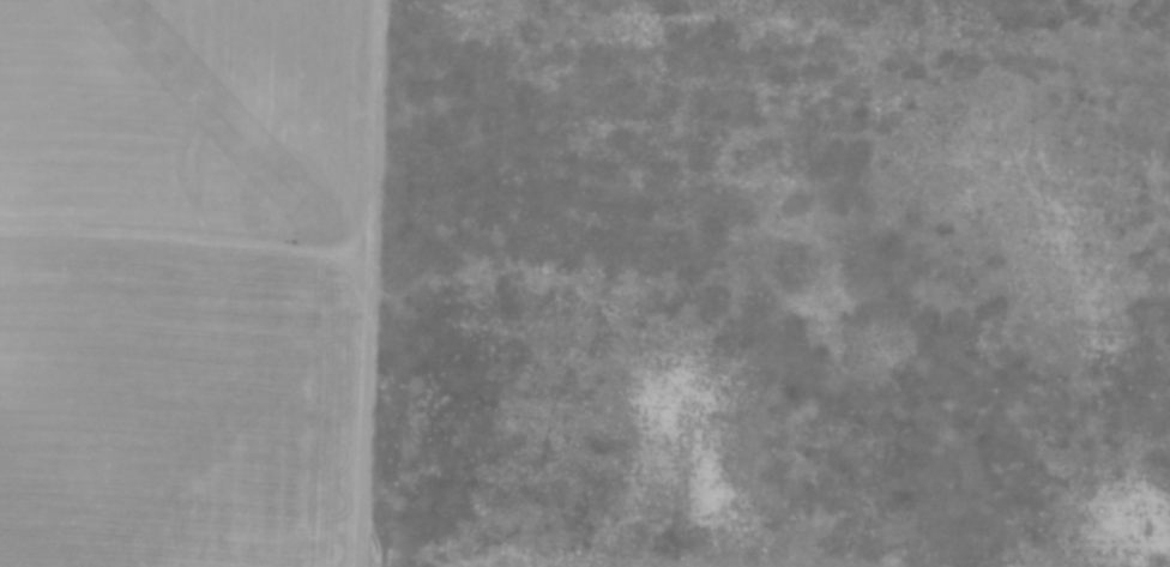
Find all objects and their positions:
crop: (179, 281)
road: (374, 283)

